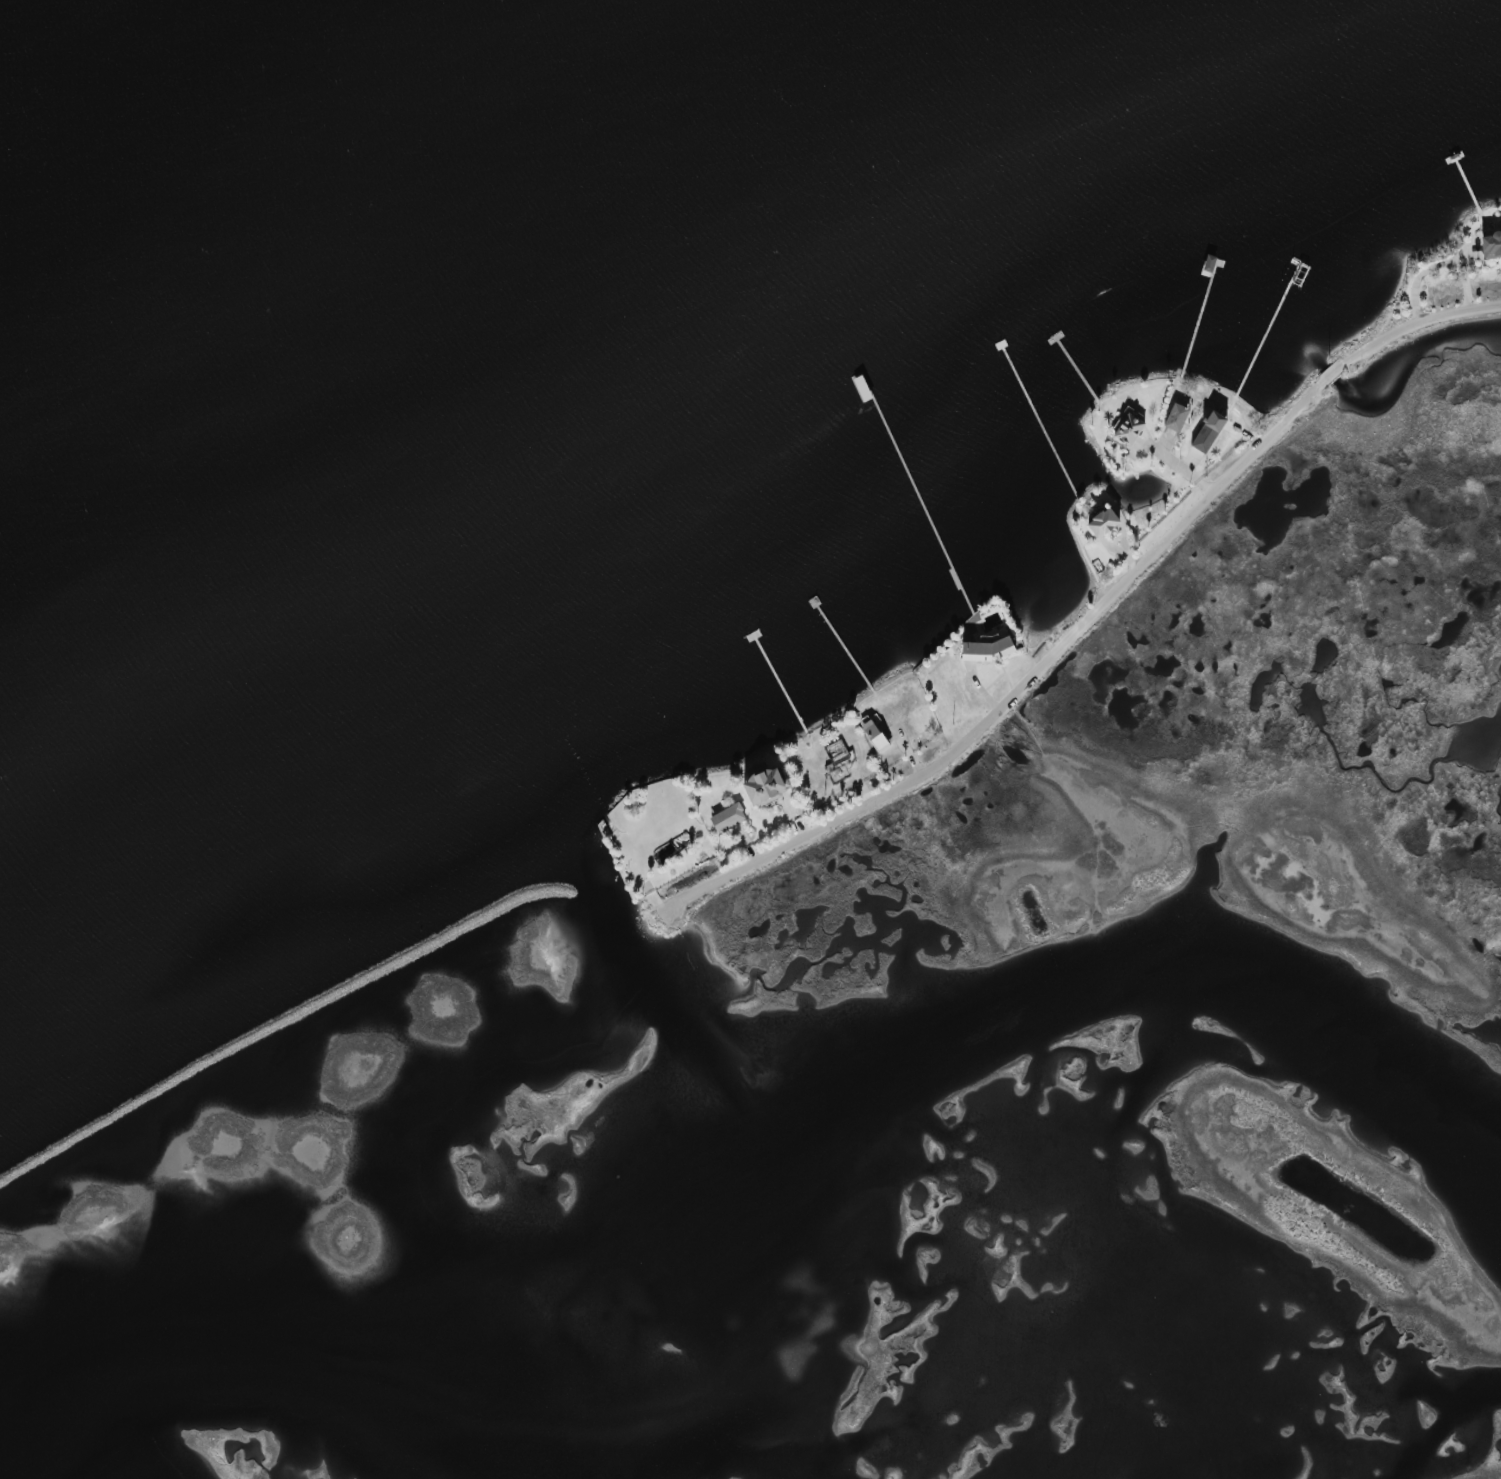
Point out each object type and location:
building: (1492, 246)
road: (1415, 325)
road: (1333, 374)
building: (1178, 415)
building: (1128, 428)
building: (1209, 432)
building: (1104, 523)
building: (984, 650)
road: (1024, 685)
building: (876, 733)
building: (767, 786)
building: (729, 818)

